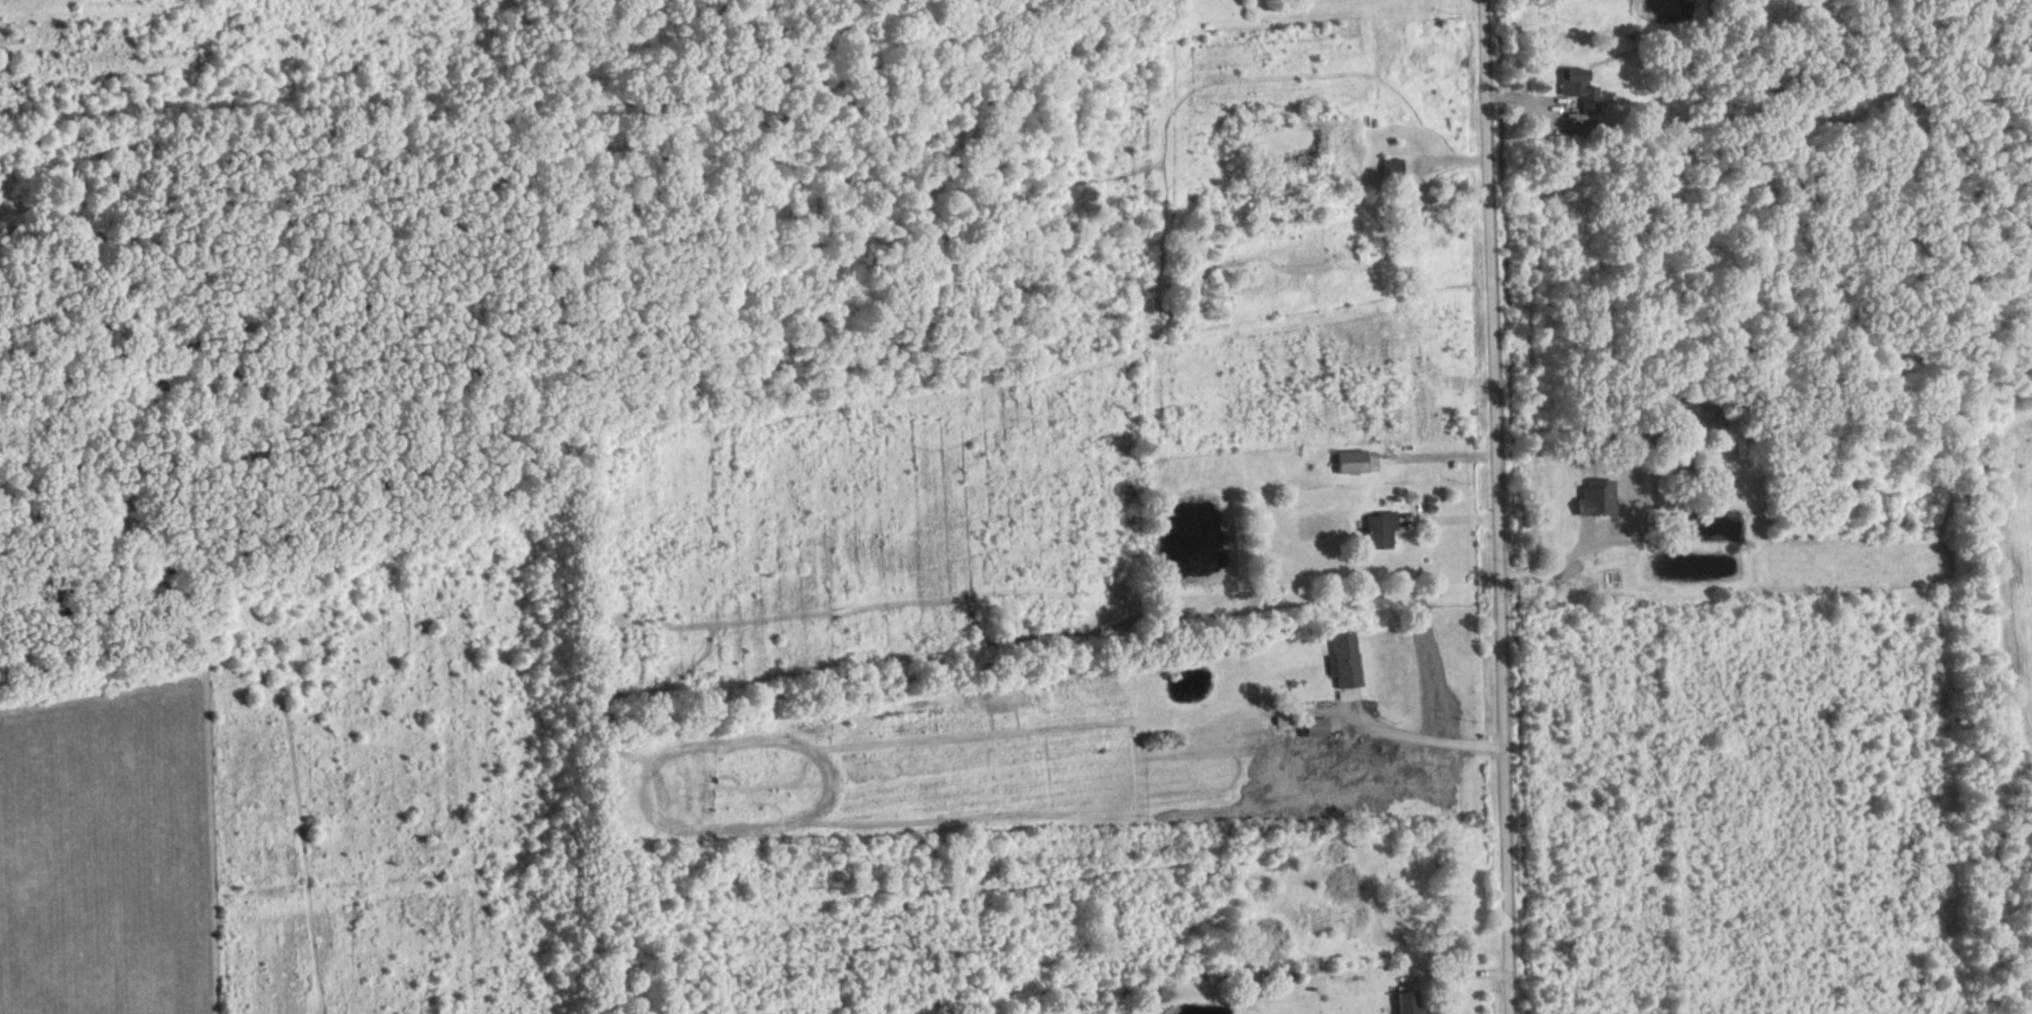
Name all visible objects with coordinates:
building: (1577, 89)
building: (1390, 170)
road: (112, 343)
building: (1349, 463)
building: (1594, 498)
road: (1491, 506)
building: (1378, 532)
road: (1564, 560)
building: (1343, 661)
road: (195, 712)
building: (1280, 720)
building: (1311, 728)
road: (1422, 738)
building: (1406, 1003)

